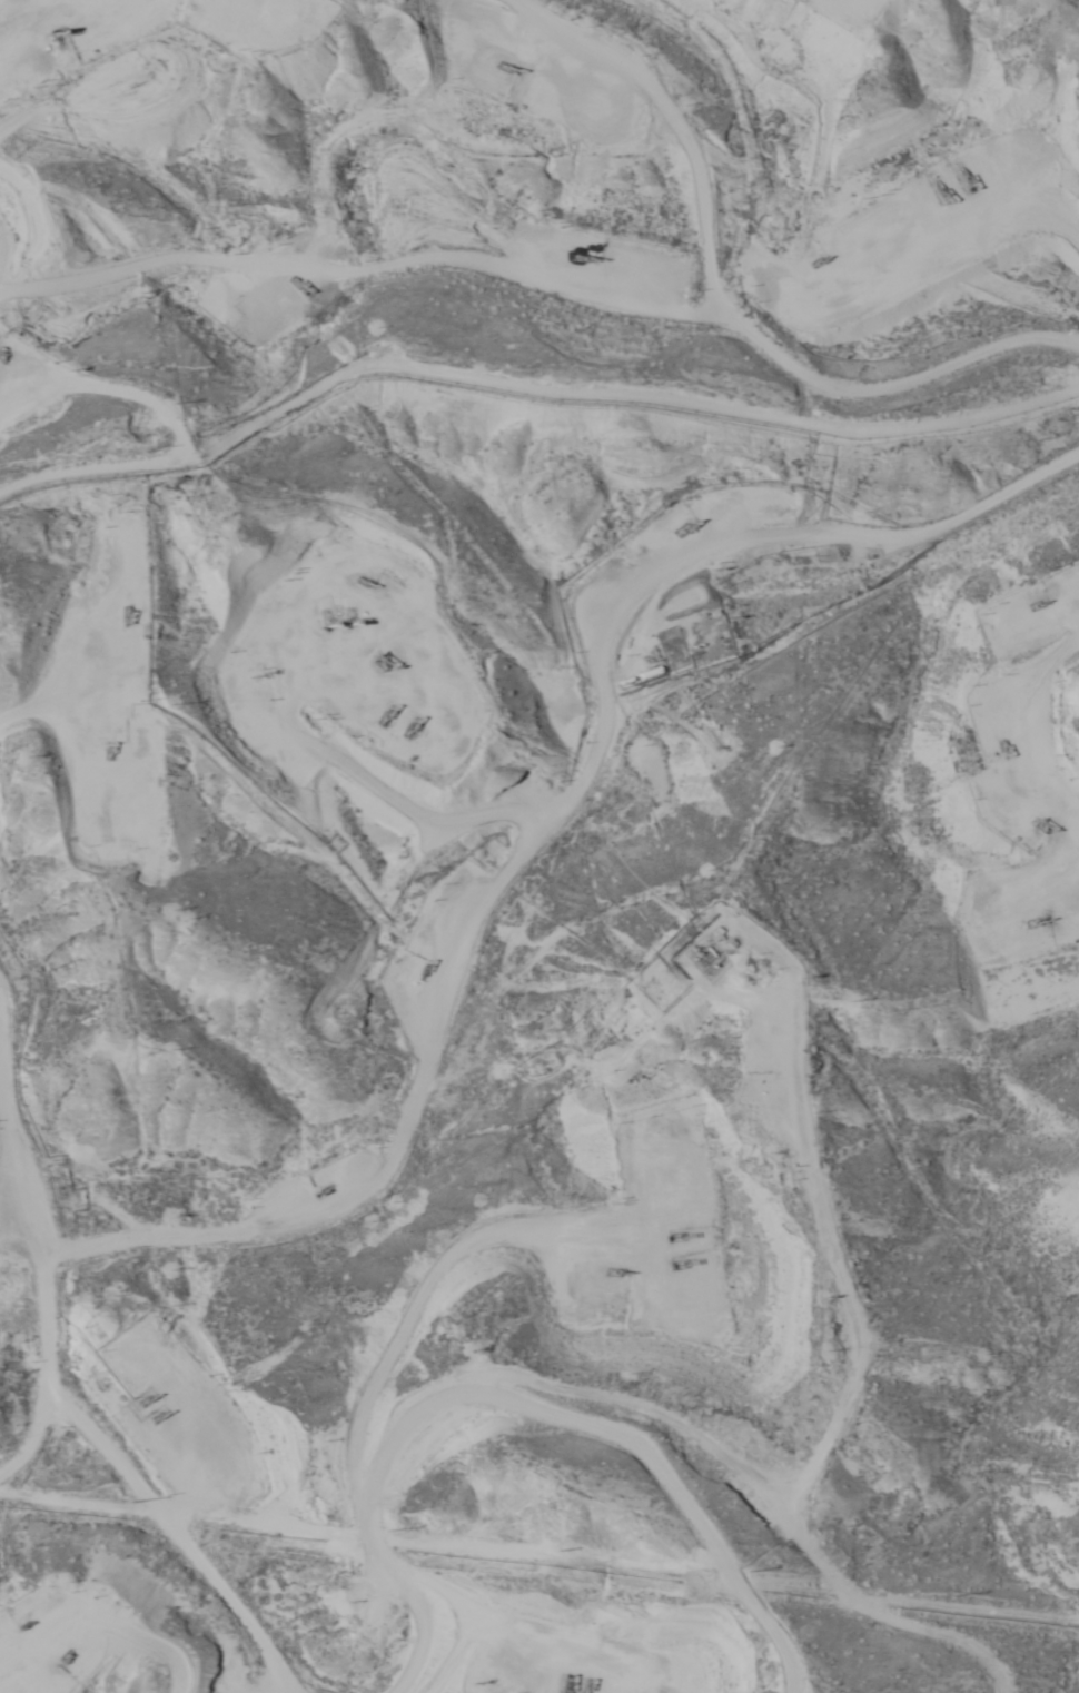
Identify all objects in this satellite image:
road: (765, 263)
road: (171, 464)
building: (670, 650)
road: (1032, 772)
road: (560, 878)
road: (969, 984)
road: (30, 1349)
road: (61, 1385)
road: (607, 1398)
road: (30, 1406)
road: (712, 1548)
road: (587, 1692)

